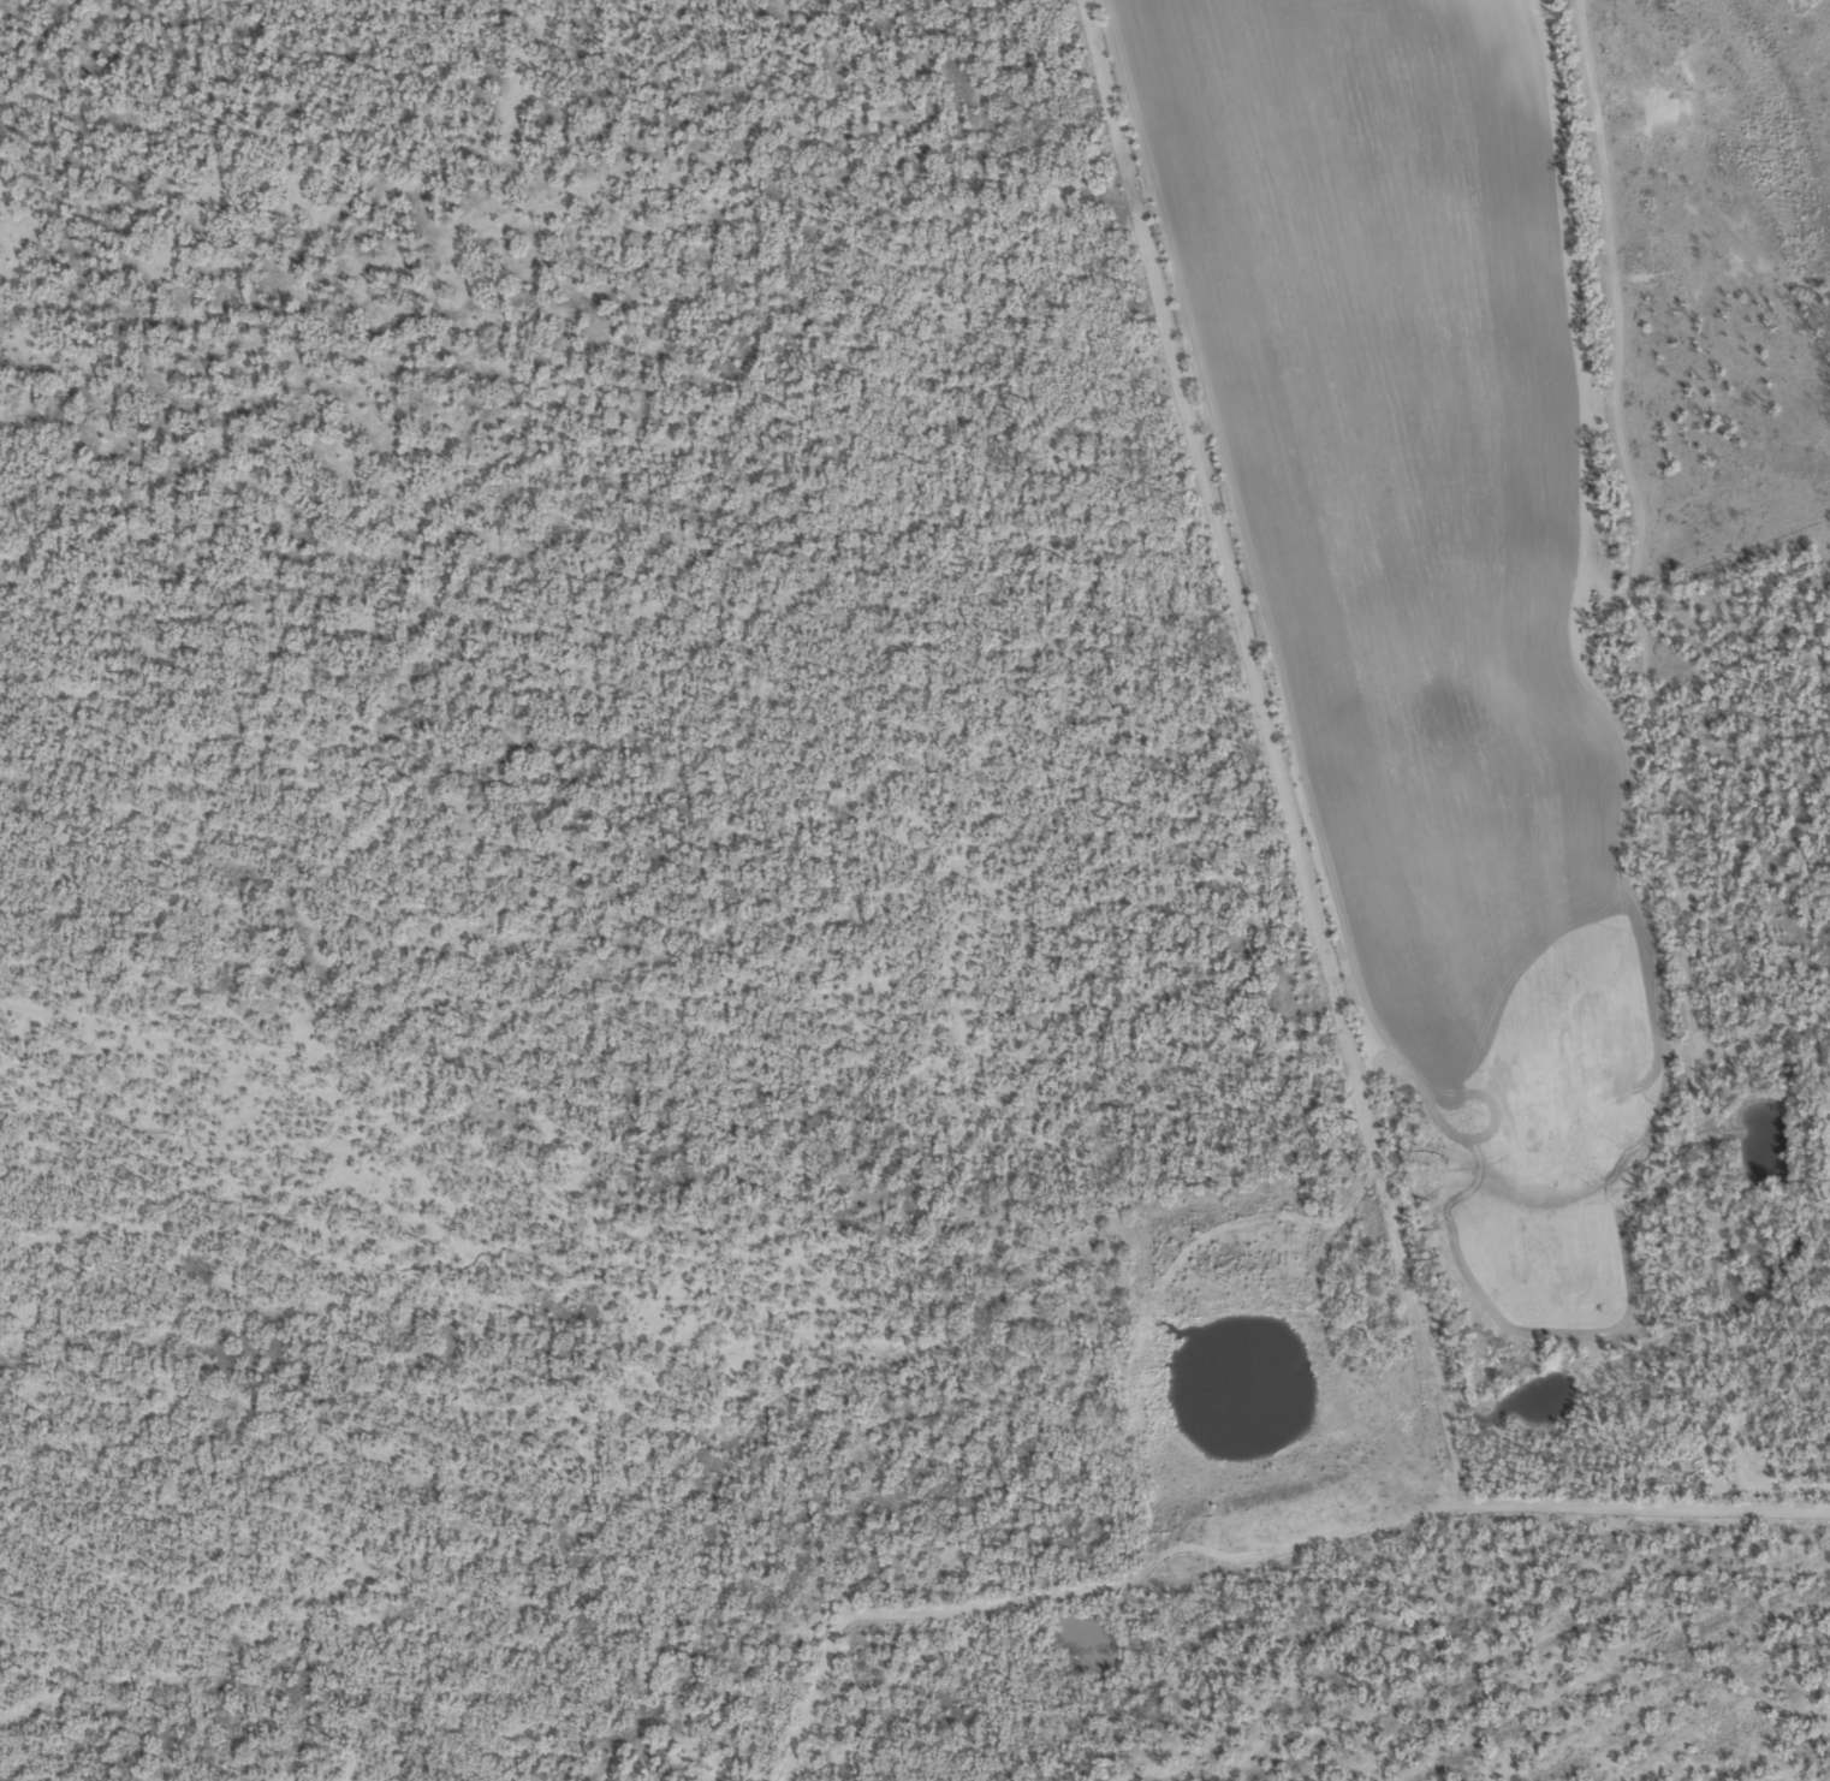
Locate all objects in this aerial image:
road: (1692, 1198)
road: (505, 1750)

